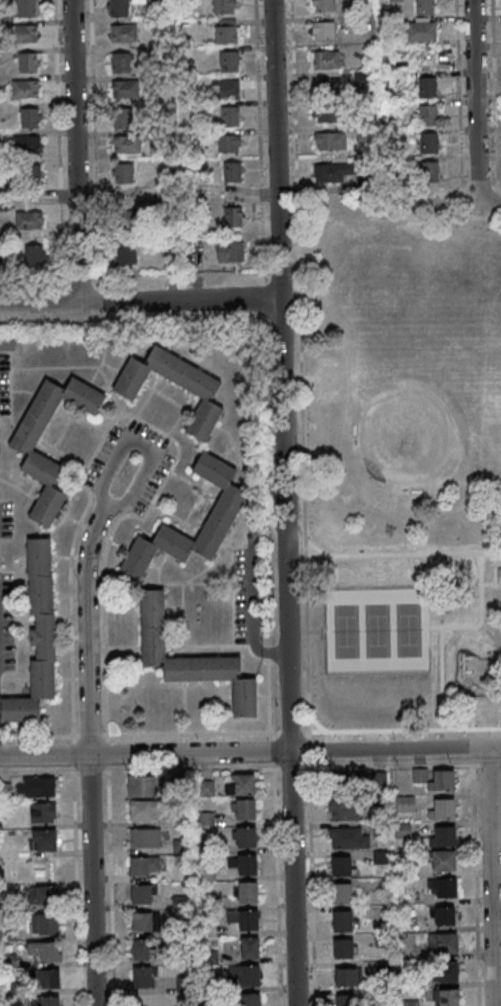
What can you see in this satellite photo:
building: (394, 0)
building: (323, 5)
building: (225, 6)
building: (26, 8)
building: (119, 8)
building: (425, 8)
building: (227, 30)
building: (323, 30)
building: (25, 33)
building: (124, 33)
building: (420, 33)
building: (325, 59)
building: (230, 61)
building: (30, 62)
building: (121, 62)
building: (326, 86)
building: (427, 87)
building: (26, 88)
building: (125, 88)
building: (226, 89)
road: (475, 102)
road: (294, 109)
building: (325, 113)
building: (428, 114)
building: (230, 116)
building: (30, 117)
building: (124, 117)
building: (364, 135)
building: (330, 141)
building: (428, 142)
building: (26, 144)
building: (126, 144)
building: (229, 144)
road: (76, 151)
building: (124, 172)
building: (232, 172)
building: (332, 172)
building: (430, 172)
building: (29, 174)
road: (489, 205)
building: (233, 217)
road: (399, 218)
building: (29, 219)
building: (133, 219)
building: (1, 247)
building: (231, 251)
building: (126, 254)
building: (34, 256)
road: (139, 302)
building: (7, 342)
road: (310, 377)
building: (127, 393)
building: (30, 453)
park: (403, 460)
road: (303, 493)
road: (284, 502)
road: (123, 503)
building: (225, 508)
road: (399, 553)
road: (315, 563)
building: (498, 575)
road: (495, 583)
road: (445, 626)
road: (435, 627)
road: (316, 631)
park: (378, 632)
building: (37, 635)
building: (191, 657)
road: (473, 710)
road: (316, 723)
road: (401, 730)
road: (289, 734)
road: (190, 736)
road: (250, 753)
road: (89, 755)
building: (379, 779)
building: (435, 779)
building: (349, 781)
building: (244, 784)
building: (142, 786)
building: (40, 787)
building: (206, 788)
building: (405, 803)
building: (443, 808)
building: (245, 809)
building: (144, 810)
building: (344, 811)
building: (43, 812)
building: (445, 836)
building: (246, 837)
building: (144, 838)
building: (348, 838)
building: (43, 840)
building: (444, 861)
building: (247, 864)
building: (144, 866)
building: (343, 866)
road: (491, 876)
building: (444, 887)
building: (248, 892)
building: (343, 893)
building: (141, 894)
building: (46, 895)
building: (445, 915)
building: (245, 919)
building: (343, 920)
building: (142, 922)
building: (45, 924)
building: (447, 943)
building: (250, 947)
building: (344, 948)
building: (45, 950)
building: (141, 950)
building: (445, 971)
building: (246, 974)
building: (347, 976)
building: (143, 977)
building: (50, 978)
building: (448, 997)
building: (249, 999)
building: (346, 1000)
building: (50, 1001)

